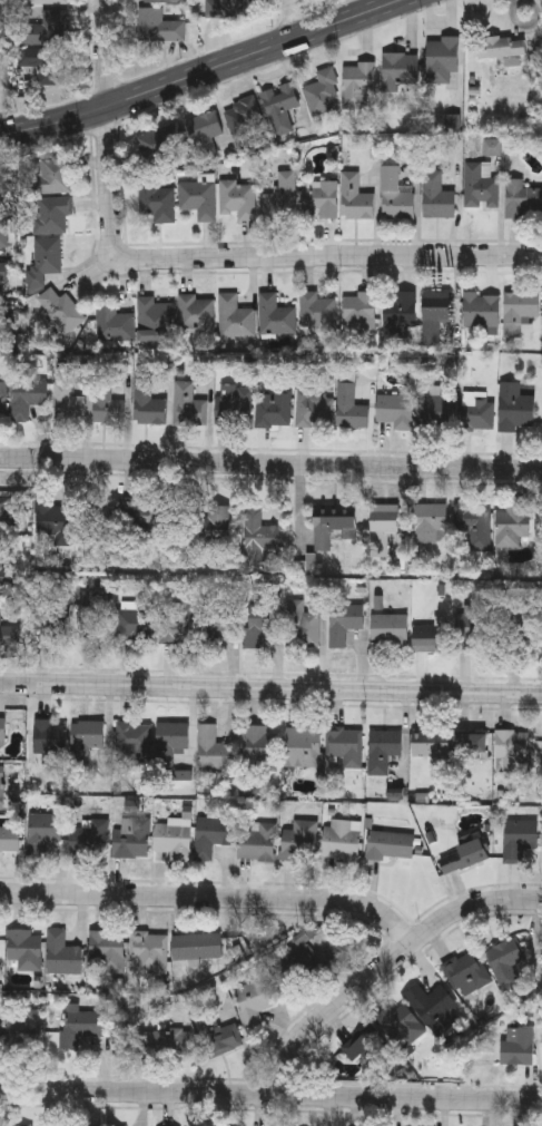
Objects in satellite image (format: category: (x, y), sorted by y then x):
building: (49, 2)
building: (159, 2)
building: (227, 9)
road: (292, 18)
building: (158, 28)
building: (47, 31)
building: (501, 47)
road: (105, 53)
building: (441, 59)
building: (45, 65)
road: (198, 71)
building: (398, 71)
building: (356, 85)
building: (322, 94)
building: (278, 101)
building: (242, 123)
building: (203, 134)
building: (156, 143)
building: (55, 175)
building: (479, 186)
building: (394, 195)
building: (354, 197)
building: (436, 197)
building: (198, 198)
building: (237, 198)
building: (280, 198)
building: (521, 198)
building: (318, 199)
building: (155, 200)
building: (2, 209)
building: (51, 214)
building: (2, 239)
building: (47, 255)
road: (256, 256)
building: (2, 272)
building: (357, 310)
building: (480, 310)
building: (518, 310)
building: (59, 311)
building: (195, 312)
building: (316, 312)
building: (397, 313)
building: (275, 315)
building: (434, 315)
building: (234, 317)
building: (4, 319)
building: (155, 319)
building: (114, 324)
building: (26, 396)
building: (1, 401)
building: (67, 403)
building: (104, 403)
building: (146, 404)
building: (187, 405)
building: (233, 405)
building: (348, 408)
building: (514, 408)
building: (273, 409)
building: (394, 410)
building: (313, 411)
building: (435, 413)
building: (479, 414)
road: (270, 463)
building: (6, 512)
building: (55, 518)
building: (137, 518)
building: (98, 519)
building: (427, 522)
building: (383, 526)
building: (512, 526)
building: (208, 527)
building: (331, 527)
building: (472, 528)
building: (258, 535)
building: (93, 615)
building: (154, 620)
building: (257, 621)
building: (343, 621)
building: (50, 623)
building: (215, 623)
building: (302, 625)
building: (474, 628)
building: (388, 629)
building: (519, 629)
building: (9, 635)
building: (430, 635)
road: (270, 688)
building: (2, 730)
building: (87, 735)
building: (49, 738)
building: (170, 741)
building: (134, 743)
building: (430, 744)
building: (303, 746)
building: (470, 746)
building: (344, 747)
building: (213, 748)
building: (259, 748)
building: (382, 750)
building: (513, 752)
building: (1, 787)
building: (41, 833)
building: (211, 835)
building: (173, 839)
building: (344, 839)
building: (518, 839)
building: (9, 840)
building: (86, 840)
building: (130, 840)
building: (296, 841)
building: (257, 842)
building: (388, 845)
building: (462, 856)
road: (214, 899)
building: (196, 948)
building: (23, 950)
building: (106, 951)
building: (61, 953)
building: (148, 953)
building: (504, 958)
building: (300, 961)
road: (387, 966)
building: (465, 976)
building: (252, 1001)
building: (431, 1006)
building: (85, 1024)
building: (398, 1025)
building: (24, 1030)
building: (221, 1039)
building: (146, 1042)
building: (178, 1042)
building: (361, 1042)
building: (516, 1047)
road: (270, 1095)

